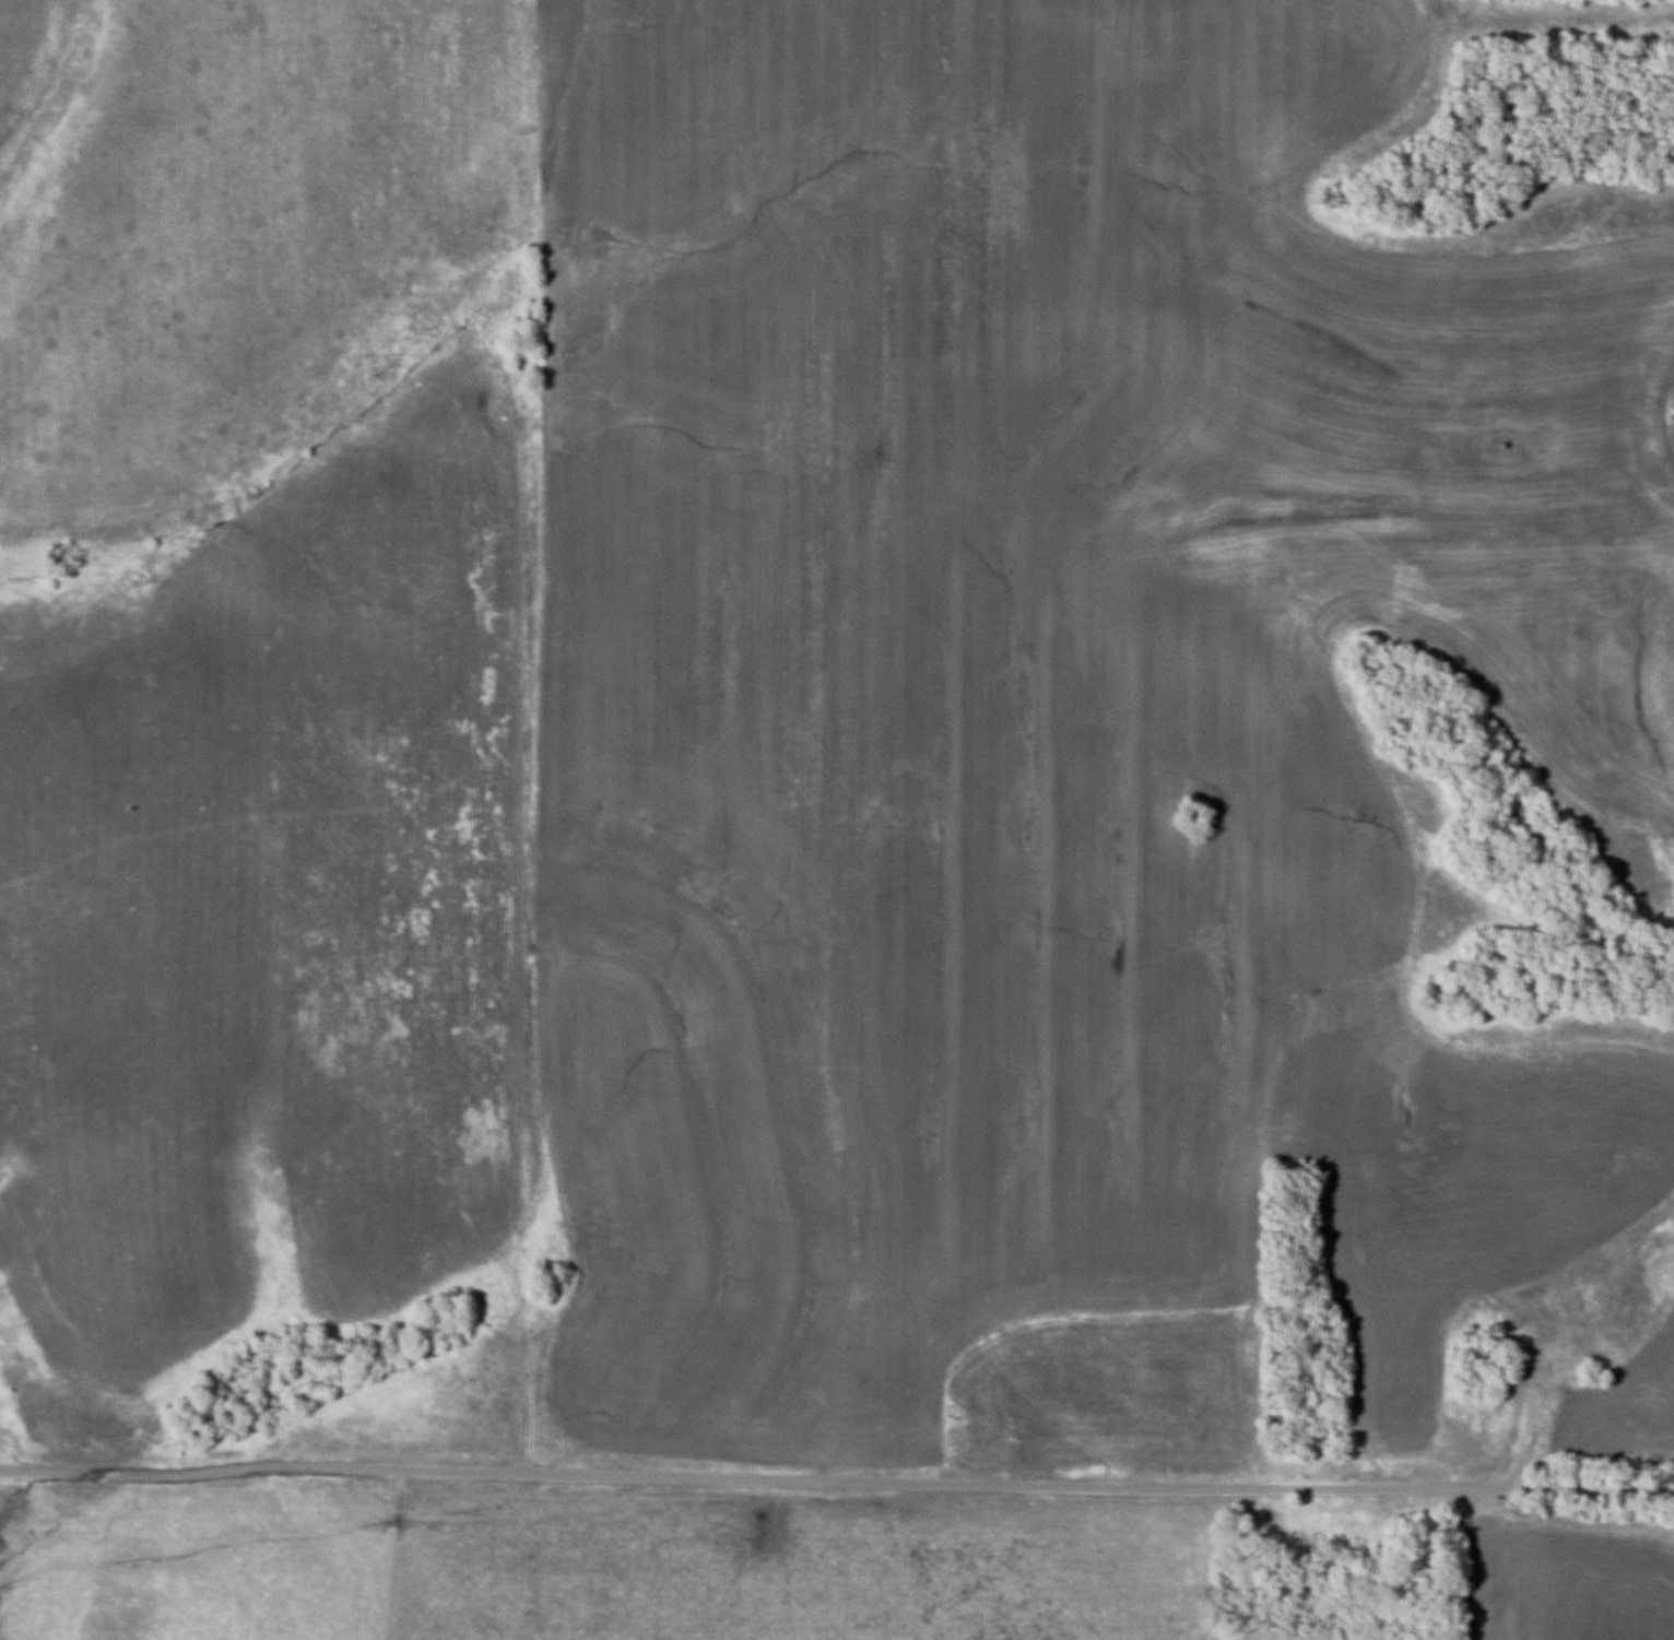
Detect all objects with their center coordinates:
road: (750, 1483)

